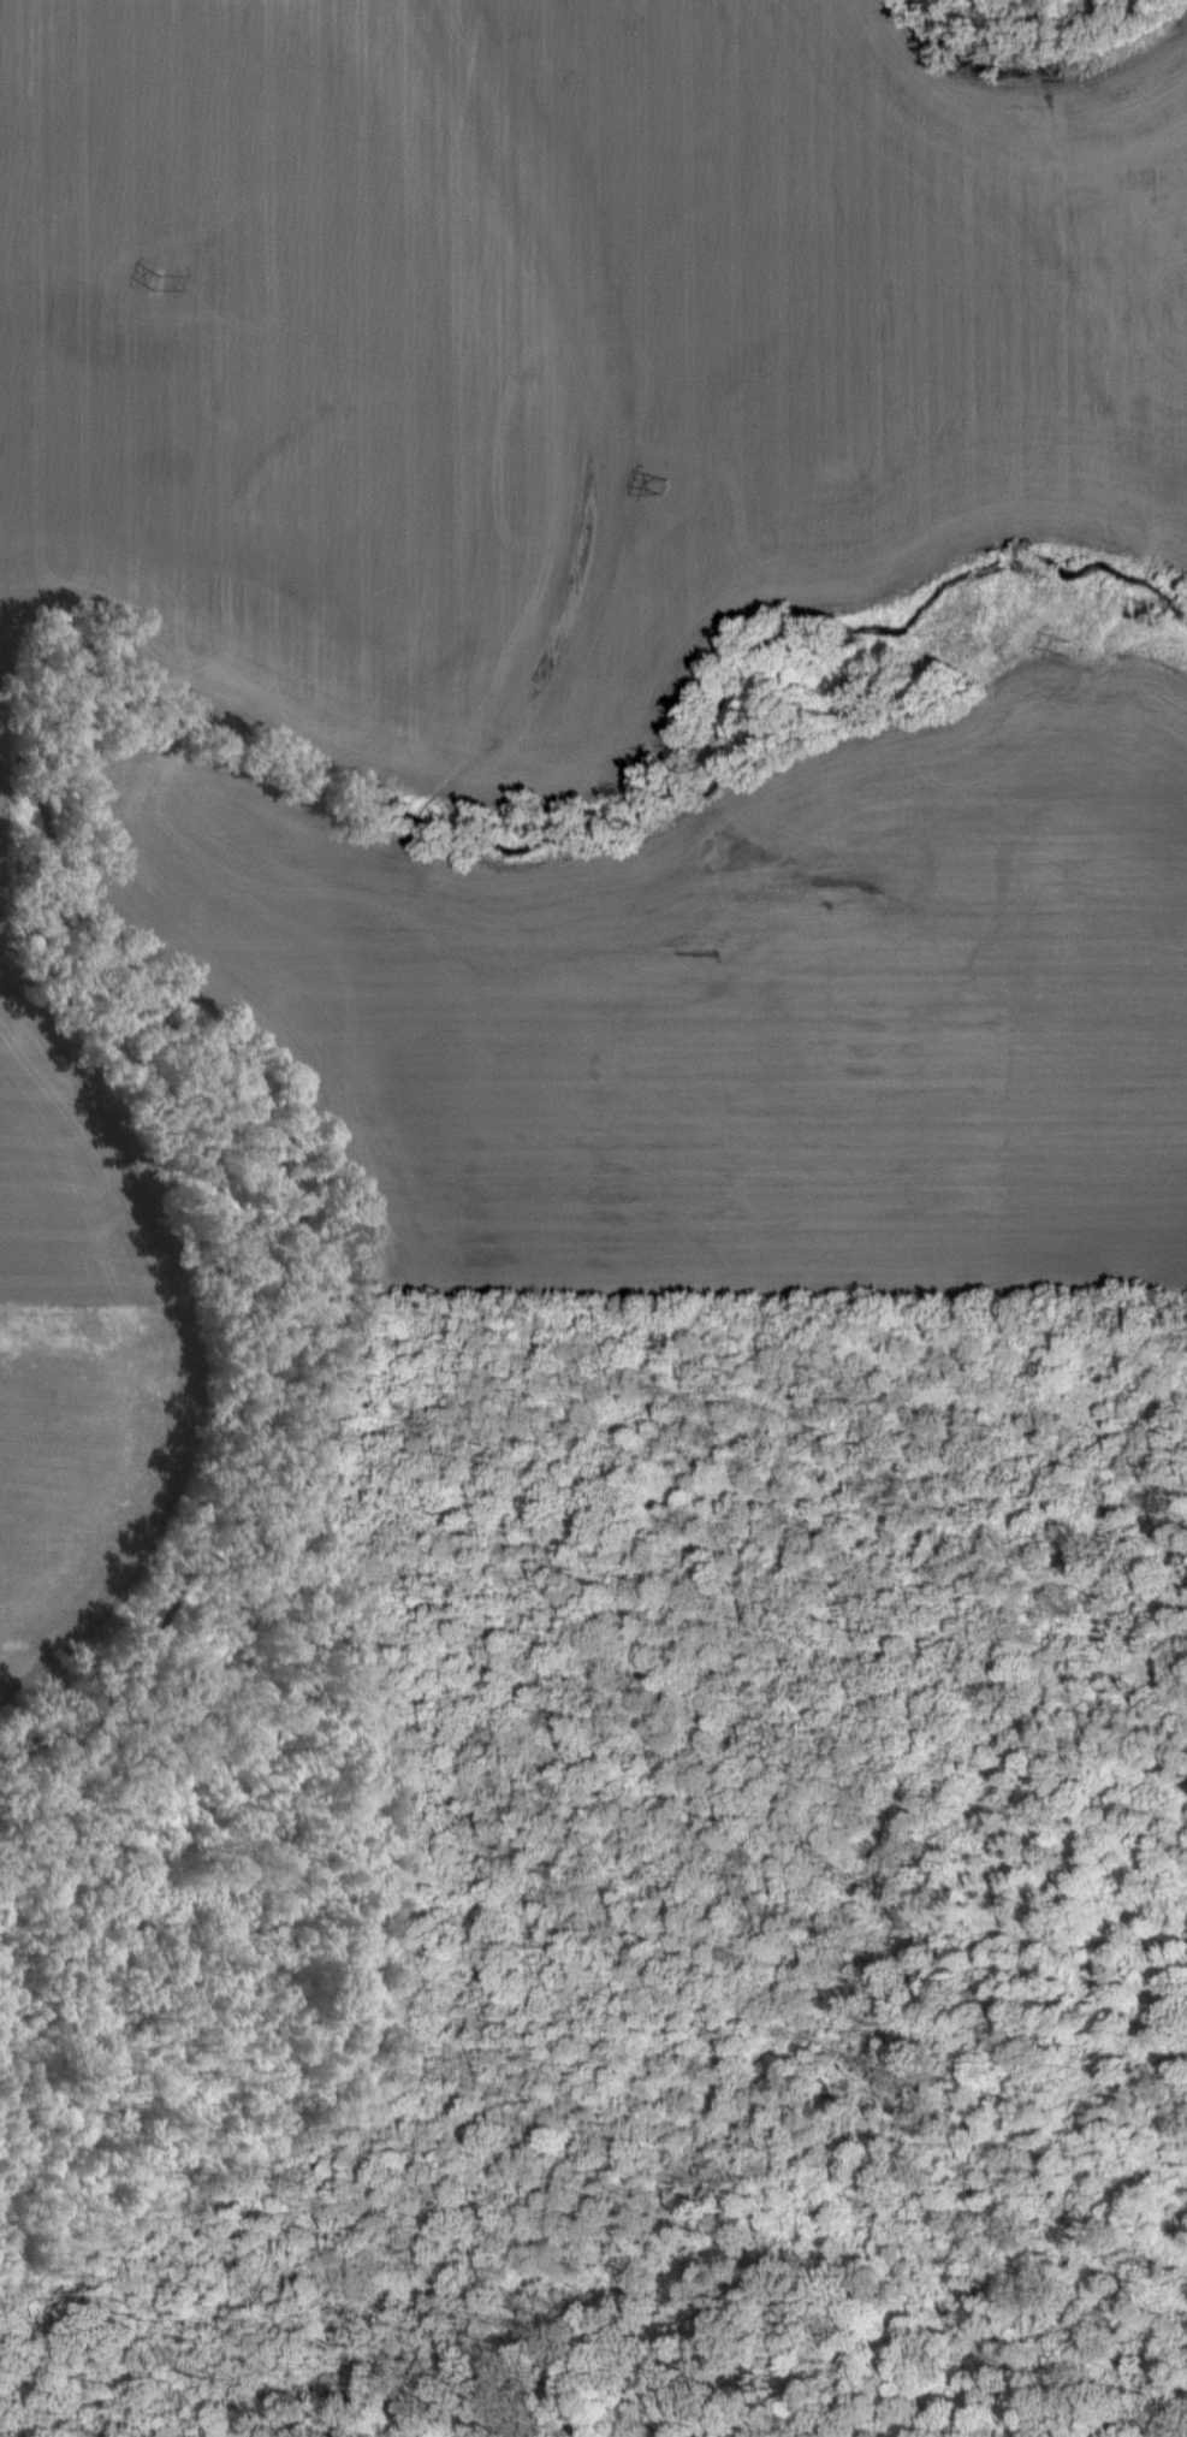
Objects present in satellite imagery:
power tower: (156, 282)
power tower: (666, 485)
power tower: (1068, 645)

